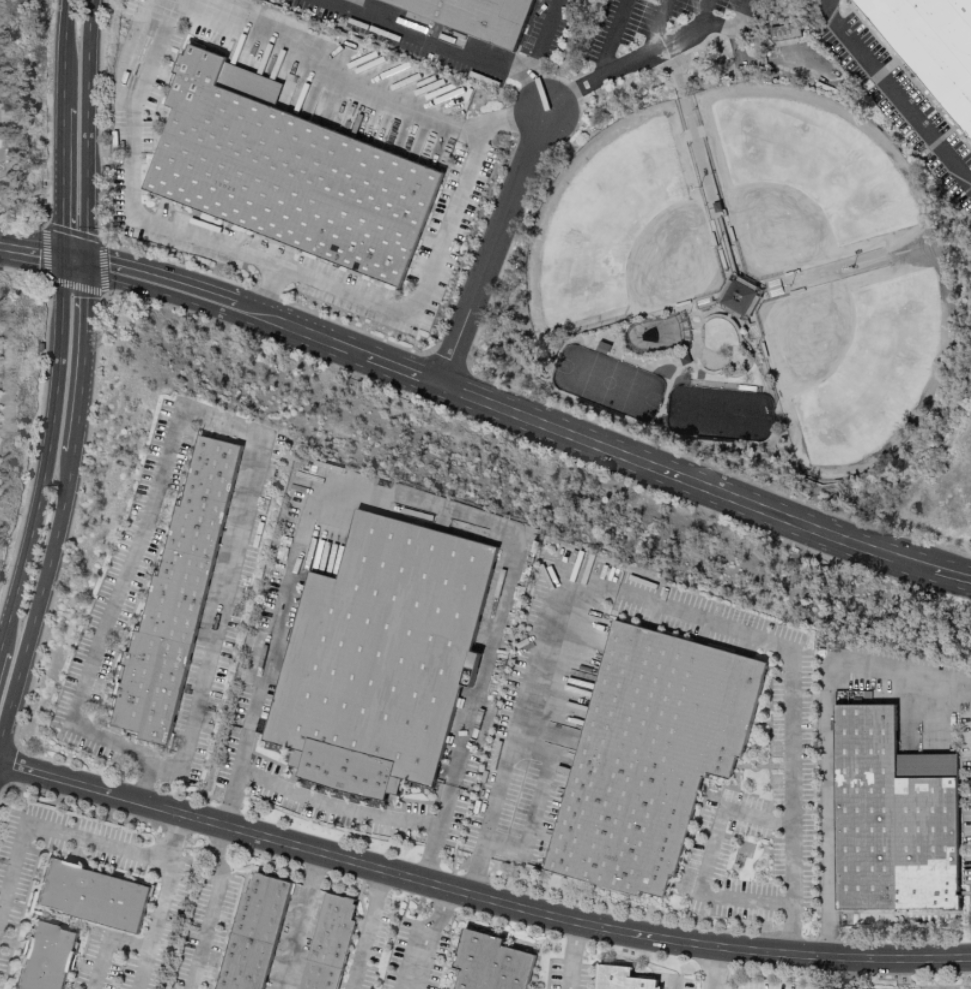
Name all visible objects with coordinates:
road: (167, 10)
road: (739, 17)
building: (476, 18)
road: (704, 19)
road: (654, 25)
parking lot: (658, 33)
road: (611, 36)
road: (432, 39)
road: (550, 39)
building: (931, 47)
road: (629, 64)
road: (895, 90)
road: (541, 94)
road: (65, 128)
road: (86, 130)
building: (289, 173)
park: (806, 182)
park: (623, 231)
road: (490, 247)
road: (33, 251)
traffic signals: (66, 258)
road: (76, 260)
traffic signals: (87, 262)
park: (745, 270)
road: (160, 282)
road: (417, 292)
building: (734, 297)
road: (300, 329)
park: (857, 357)
road: (401, 370)
road: (219, 423)
road: (48, 459)
road: (684, 479)
road: (63, 499)
road: (420, 507)
road: (952, 575)
building: (177, 599)
road: (672, 604)
building: (382, 658)
road: (930, 714)
road: (826, 734)
building: (650, 758)
road: (338, 812)
building: (892, 818)
road: (41, 832)
road: (530, 837)
road: (168, 840)
road: (704, 864)
building: (92, 896)
road: (479, 897)
road: (212, 907)
road: (299, 920)
road: (158, 928)
road: (365, 929)
building: (255, 934)
road: (426, 937)
road: (106, 942)
building: (331, 944)
road: (572, 955)
building: (47, 958)
building: (492, 964)
road: (715, 968)
road: (846, 973)
building: (622, 979)
road: (674, 984)

